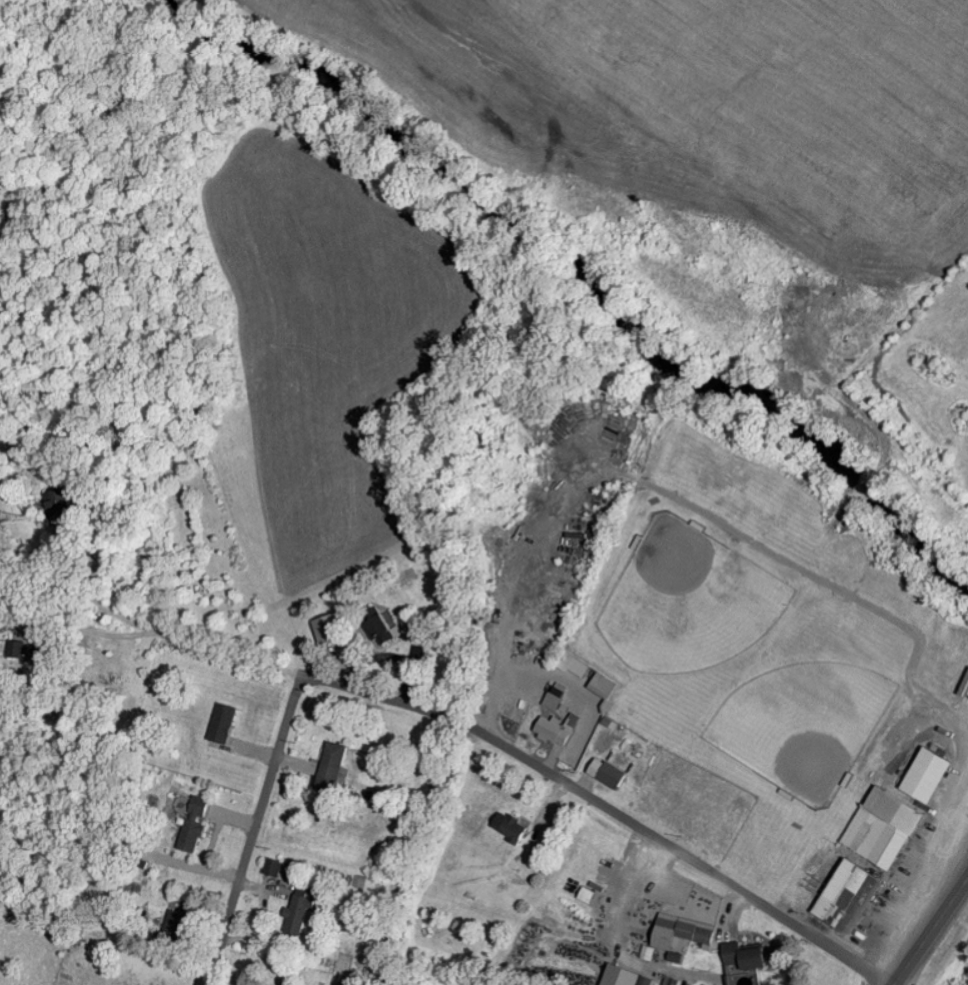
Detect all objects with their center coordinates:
road: (256, 592)
building: (332, 627)
building: (387, 629)
building: (24, 648)
building: (604, 684)
building: (556, 697)
building: (225, 722)
building: (554, 729)
building: (916, 758)
building: (334, 765)
building: (609, 773)
building: (932, 774)
road: (611, 810)
building: (196, 822)
road: (256, 825)
building: (885, 826)
building: (513, 827)
building: (275, 866)
building: (852, 896)
building: (302, 911)
building: (179, 920)
building: (684, 930)
road: (931, 932)
building: (678, 956)
building: (629, 976)

